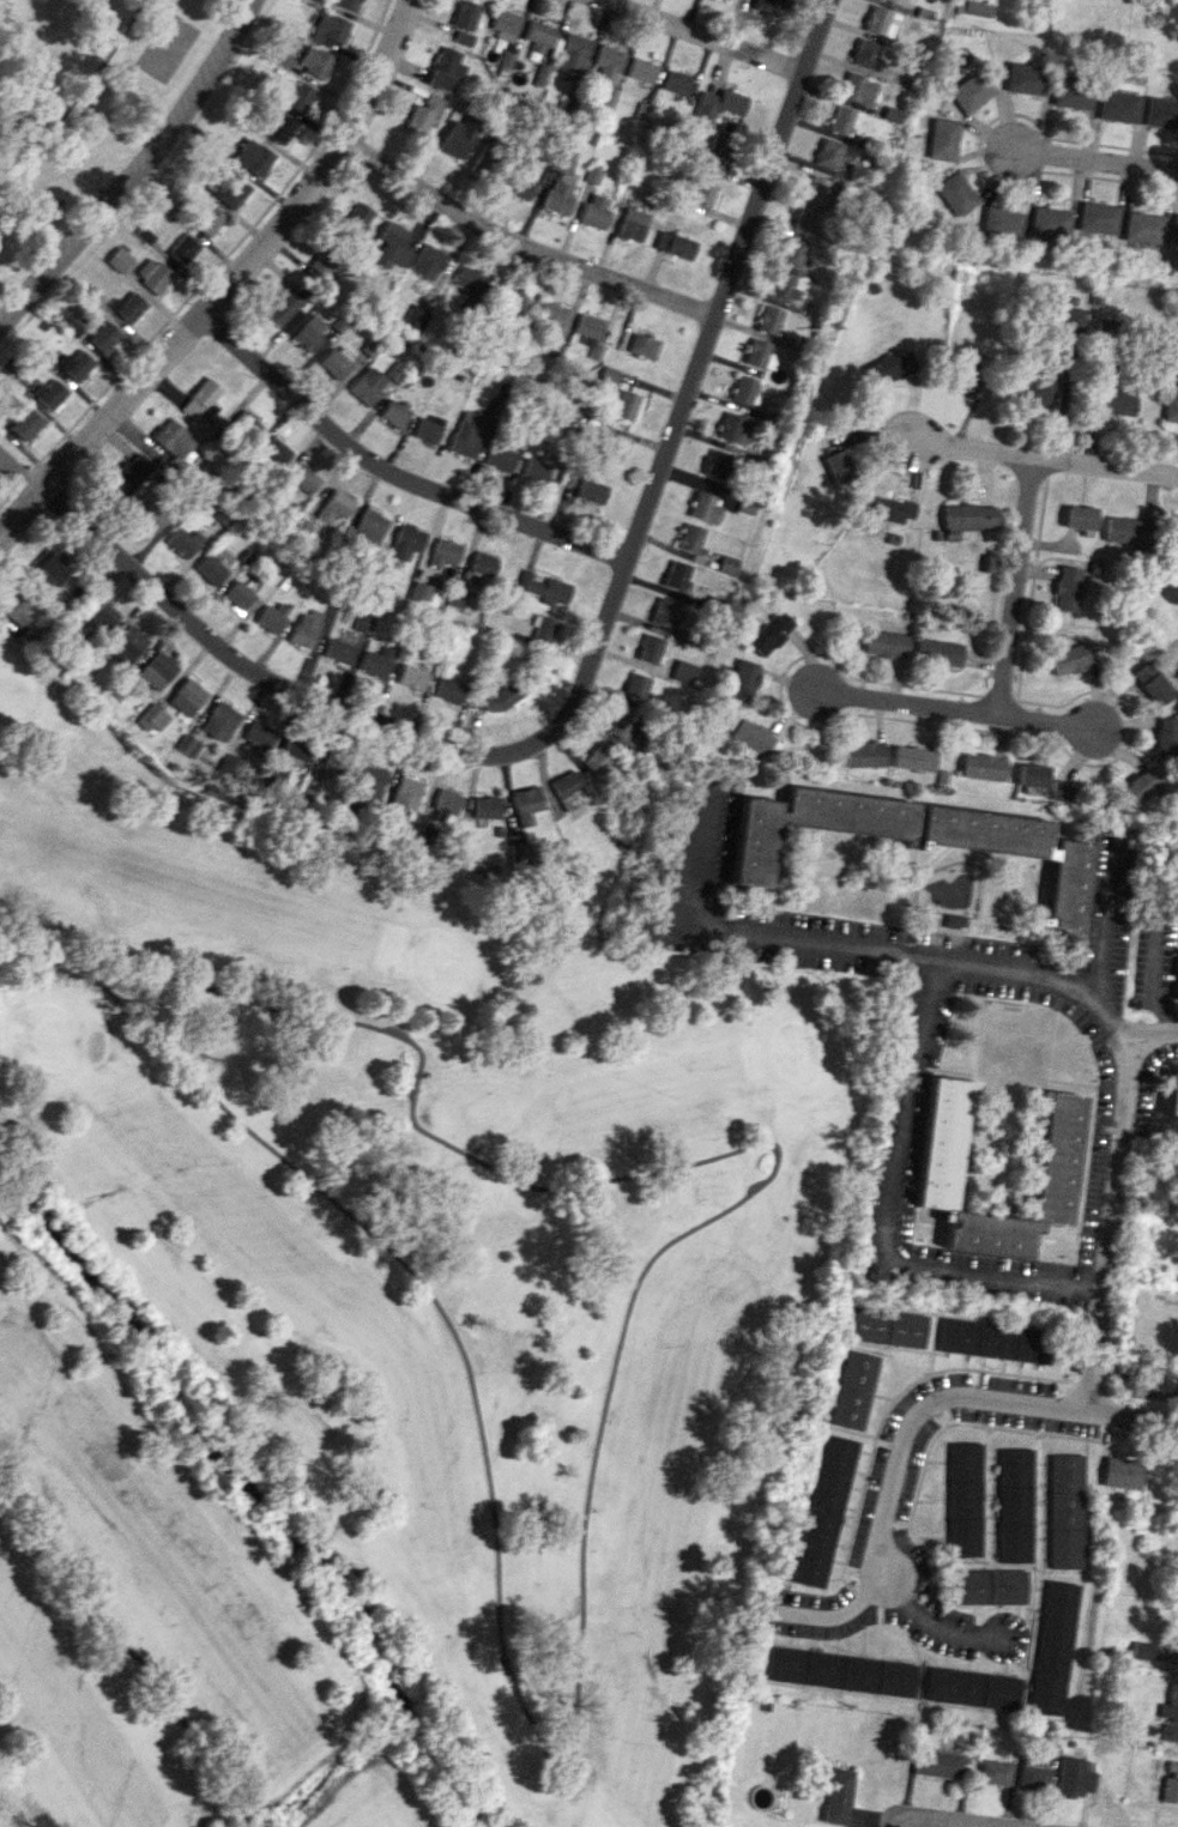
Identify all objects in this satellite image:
building: (895, 1)
building: (346, 2)
building: (765, 6)
building: (973, 7)
building: (464, 14)
building: (876, 20)
building: (503, 25)
building: (328, 28)
road: (705, 35)
building: (538, 36)
building: (461, 37)
building: (572, 53)
building: (863, 54)
building: (314, 61)
building: (606, 62)
building: (443, 68)
building: (641, 69)
building: (1022, 78)
building: (673, 83)
building: (856, 87)
road: (80, 90)
building: (967, 91)
building: (1070, 93)
building: (294, 95)
building: (717, 104)
building: (1117, 105)
building: (1160, 111)
building: (422, 115)
building: (839, 119)
park: (95, 120)
building: (279, 128)
building: (458, 137)
building: (940, 139)
building: (714, 152)
building: (826, 152)
building: (252, 156)
building: (484, 158)
road: (1097, 159)
building: (561, 164)
road: (135, 169)
building: (591, 175)
building: (516, 186)
building: (700, 188)
building: (818, 189)
building: (228, 190)
building: (954, 193)
building: (557, 196)
building: (593, 211)
building: (357, 217)
building: (1097, 218)
building: (207, 219)
building: (802, 219)
building: (998, 219)
building: (1050, 220)
building: (630, 224)
building: (1142, 228)
building: (1173, 228)
building: (144, 235)
road: (520, 241)
building: (672, 244)
building: (391, 246)
building: (182, 248)
building: (790, 252)
building: (119, 259)
building: (321, 261)
building: (427, 261)
building: (152, 274)
road: (229, 280)
building: (467, 283)
building: (781, 286)
building: (508, 296)
building: (129, 307)
building: (284, 309)
building: (1073, 316)
building: (413, 317)
building: (549, 317)
building: (767, 319)
building: (587, 326)
building: (308, 332)
building: (103, 335)
building: (642, 345)
building: (549, 347)
building: (593, 350)
building: (757, 355)
building: (337, 361)
building: (74, 364)
building: (887, 367)
building: (972, 369)
building: (394, 371)
building: (606, 374)
road: (693, 377)
building: (367, 385)
building: (1037, 388)
building: (742, 389)
building: (49, 392)
building: (1116, 401)
building: (200, 404)
building: (626, 405)
building: (1172, 407)
building: (393, 412)
building: (24, 423)
building: (244, 425)
building: (427, 428)
building: (732, 428)
building: (465, 435)
building: (174, 441)
building: (609, 447)
building: (273, 453)
building: (499, 455)
building: (715, 464)
road: (1049, 464)
park: (11, 465)
building: (835, 465)
road: (18, 470)
road: (399, 470)
building: (534, 470)
building: (129, 474)
building: (303, 478)
building: (591, 489)
building: (334, 507)
building: (703, 507)
building: (890, 509)
building: (152, 515)
building: (1079, 516)
building: (968, 518)
building: (366, 527)
building: (1122, 530)
building: (689, 537)
building: (182, 540)
building: (406, 540)
building: (445, 551)
building: (482, 563)
building: (50, 568)
building: (209, 569)
building: (676, 574)
building: (544, 587)
building: (1067, 588)
road: (1020, 591)
building: (423, 592)
building: (238, 594)
building: (460, 600)
building: (16, 606)
building: (663, 611)
building: (103, 615)
building: (273, 616)
building: (362, 623)
building: (306, 628)
building: (544, 629)
building: (768, 633)
building: (886, 643)
building: (126, 645)
building: (650, 648)
building: (337, 651)
building: (938, 652)
building: (1069, 658)
building: (376, 661)
building: (157, 670)
building: (682, 671)
road: (264, 673)
building: (411, 676)
building: (741, 680)
building: (1152, 682)
building: (636, 685)
building: (448, 690)
building: (187, 697)
road: (961, 712)
building: (152, 718)
building: (221, 720)
building: (622, 724)
building: (259, 734)
building: (750, 736)
building: (1166, 738)
building: (187, 745)
building: (296, 748)
building: (863, 755)
building: (912, 757)
building: (596, 758)
building: (332, 761)
building: (228, 763)
building: (174, 766)
building: (981, 767)
building: (1031, 775)
building: (370, 780)
building: (1138, 786)
building: (568, 790)
building: (1062, 791)
building: (405, 792)
building: (445, 804)
building: (526, 804)
building: (484, 809)
building: (914, 837)
road: (1108, 931)
road: (877, 951)
building: (1177, 990)
road: (1154, 1033)
building: (1172, 1095)
building: (940, 1142)
building: (1056, 1151)
road: (889, 1215)
road: (1108, 1222)
park: (377, 1320)
building: (886, 1326)
building: (992, 1341)
building: (1123, 1377)
building: (852, 1389)
road: (911, 1420)
building: (1120, 1472)
building: (963, 1499)
building: (1014, 1505)
building: (823, 1511)
building: (1065, 1511)
building: (990, 1586)
road: (929, 1625)
building: (1055, 1647)
building: (1141, 1650)
building: (841, 1671)
building: (974, 1688)
building: (1170, 1705)
building: (1170, 1732)
building: (940, 1764)
building: (1172, 1768)
building: (996, 1772)
building: (1033, 1773)
building: (1074, 1777)
building: (1170, 1790)
building: (839, 1796)
road: (894, 1821)
road: (948, 1821)

